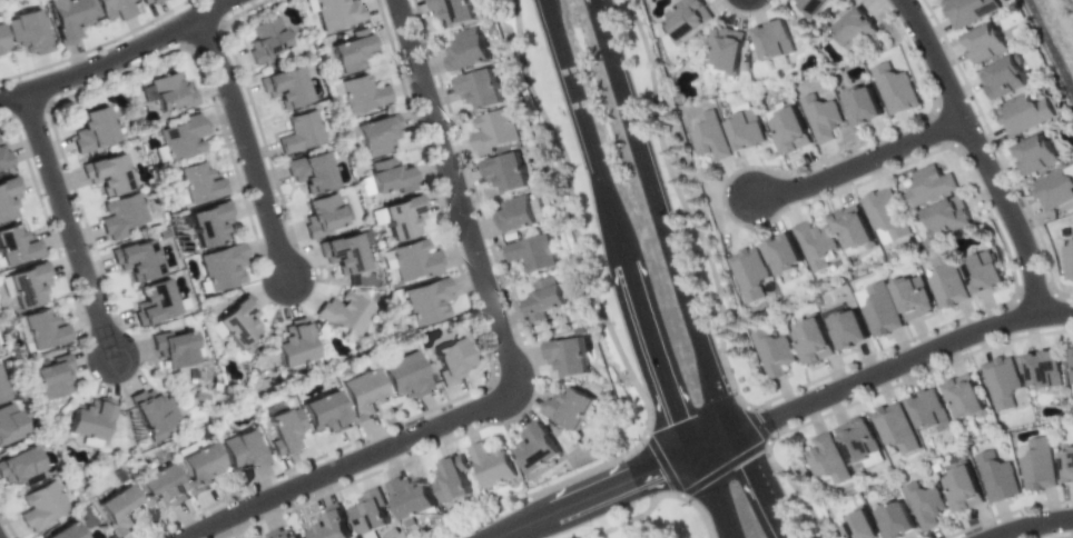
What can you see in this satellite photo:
building: (147, 1)
building: (808, 7)
building: (115, 8)
building: (967, 10)
building: (455, 11)
building: (337, 12)
building: (67, 18)
building: (685, 18)
street lamp: (150, 26)
building: (854, 30)
building: (26, 31)
building: (266, 39)
building: (774, 40)
building: (1, 42)
building: (984, 42)
road: (1050, 47)
building: (466, 48)
building: (350, 49)
building: (725, 49)
road: (116, 57)
building: (1004, 76)
building: (285, 87)
building: (893, 88)
building: (479, 89)
building: (169, 91)
building: (363, 92)
building: (860, 106)
building: (1023, 113)
building: (820, 117)
building: (91, 129)
building: (788, 129)
building: (493, 130)
building: (746, 130)
building: (299, 131)
building: (376, 134)
building: (183, 136)
building: (709, 136)
road: (248, 146)
road: (978, 152)
building: (1034, 153)
building: (4, 158)
road: (858, 159)
building: (311, 171)
building: (504, 171)
building: (107, 172)
building: (386, 177)
building: (195, 182)
building: (928, 183)
building: (1053, 187)
building: (9, 196)
building: (519, 213)
building: (883, 215)
building: (122, 216)
building: (323, 216)
building: (398, 217)
road: (668, 217)
building: (945, 217)
building: (209, 222)
road: (70, 226)
road: (609, 228)
building: (849, 229)
building: (813, 243)
building: (16, 245)
building: (345, 251)
building: (531, 253)
building: (780, 253)
building: (1067, 256)
building: (136, 258)
building: (412, 260)
building: (222, 266)
building: (981, 271)
building: (747, 272)
building: (945, 281)
building: (26, 285)
building: (910, 296)
building: (545, 299)
building: (156, 301)
building: (425, 302)
building: (877, 309)
building: (345, 313)
building: (235, 321)
road: (567, 321)
building: (40, 329)
building: (845, 329)
building: (811, 341)
building: (294, 345)
building: (176, 346)
building: (772, 351)
building: (568, 356)
building: (450, 360)
road: (905, 360)
building: (1071, 367)
road: (512, 368)
building: (1043, 368)
building: (51, 375)
building: (405, 375)
building: (1001, 381)
building: (2, 389)
building: (364, 393)
building: (963, 398)
building: (569, 406)
building: (152, 409)
building: (927, 410)
building: (324, 412)
traffic signals: (672, 421)
building: (89, 422)
traffic signals: (767, 422)
building: (9, 424)
building: (892, 427)
building: (283, 429)
building: (855, 440)
road: (716, 444)
building: (243, 447)
building: (538, 447)
building: (824, 459)
building: (1065, 462)
building: (489, 464)
building: (1036, 464)
building: (198, 465)
traffic signals: (759, 465)
building: (20, 467)
traffic signals: (653, 469)
building: (996, 476)
building: (453, 479)
road: (768, 485)
building: (160, 486)
building: (961, 488)
road: (591, 496)
road: (703, 497)
building: (411, 499)
building: (924, 504)
building: (42, 506)
building: (120, 510)
building: (370, 514)
building: (893, 519)
park: (643, 522)
road: (1030, 525)
building: (331, 526)
building: (857, 526)
building: (65, 531)
building: (284, 534)

